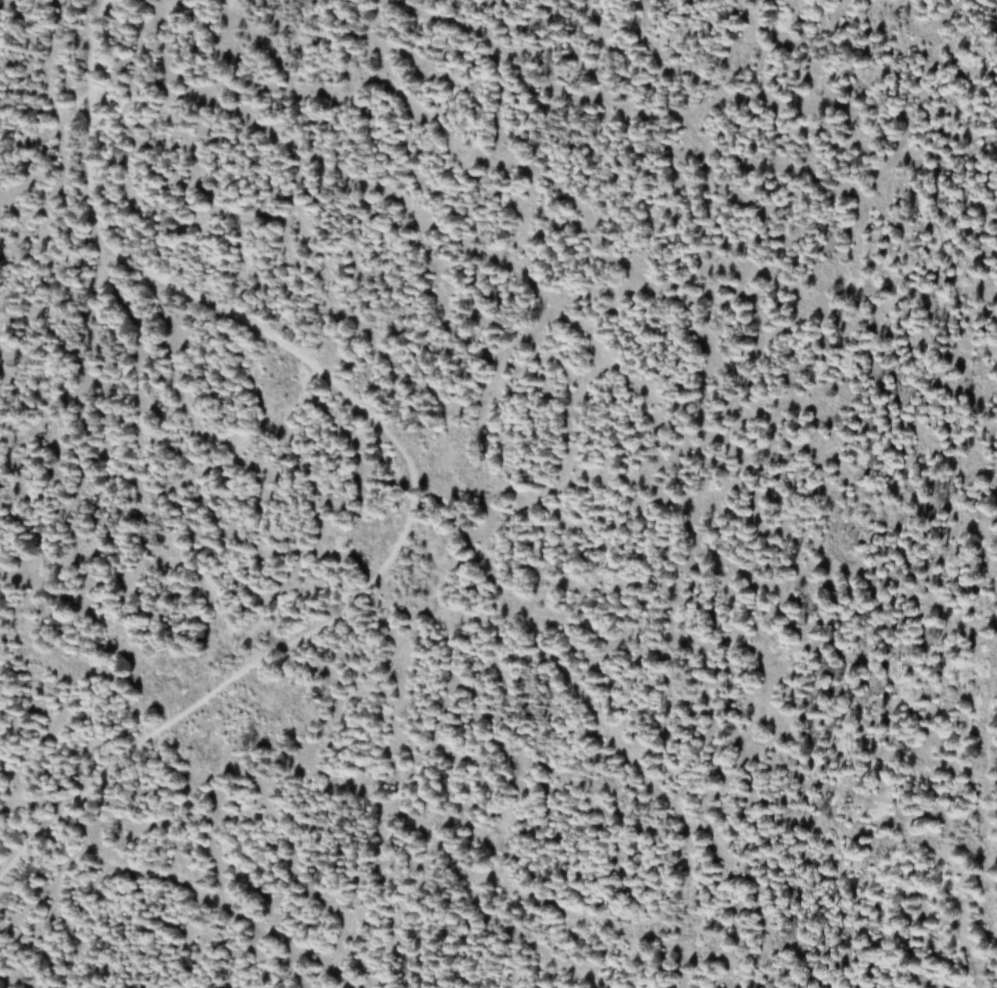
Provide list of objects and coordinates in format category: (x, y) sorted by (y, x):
road: (404, 453)

